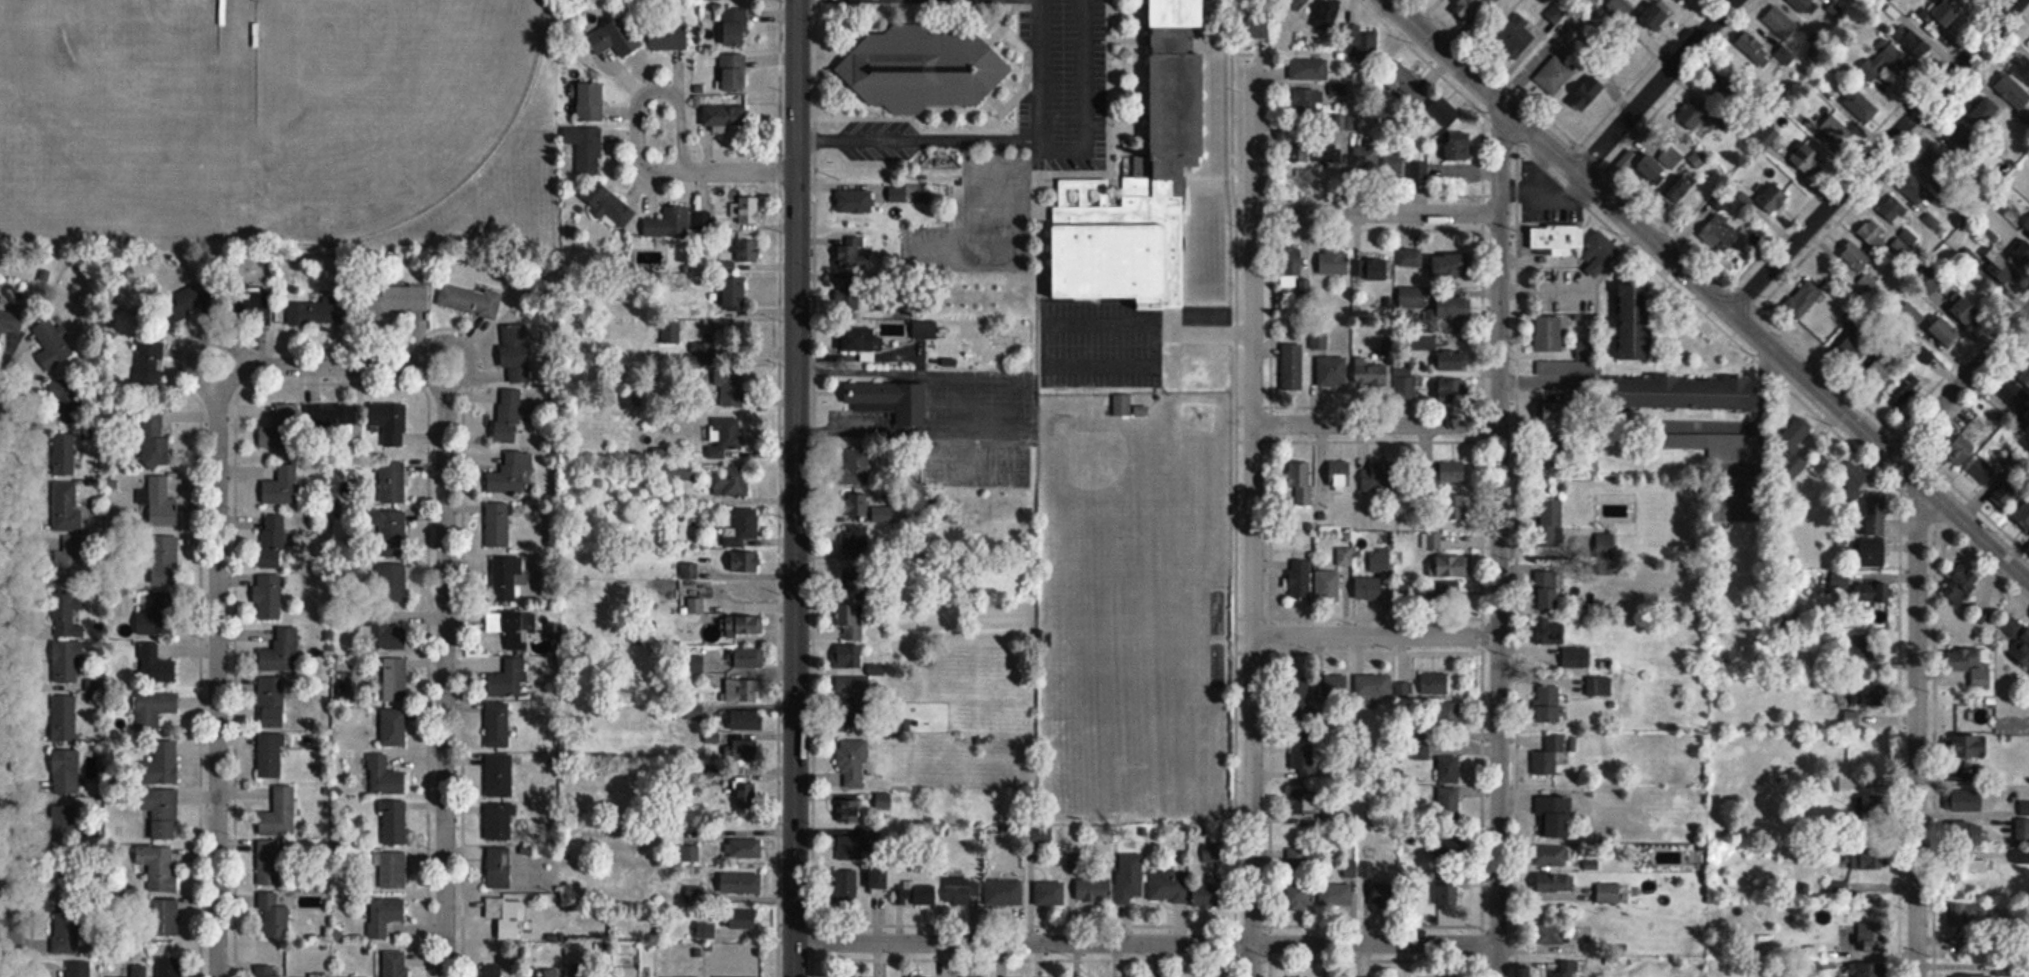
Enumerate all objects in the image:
building: (1684, 1)
building: (1298, 4)
building: (1805, 6)
building: (1468, 8)
building: (1620, 9)
building: (1328, 15)
building: (1656, 17)
building: (1940, 20)
building: (1780, 22)
building: (1254, 24)
building: (734, 29)
building: (628, 33)
building: (1518, 34)
building: (601, 40)
building: (669, 40)
building: (1913, 40)
building: (1363, 44)
building: (1752, 47)
building: (1888, 62)
building: (2022, 66)
road: (1033, 69)
building: (1309, 69)
building: (923, 70)
park: (130, 71)
road: (1078, 71)
building: (733, 72)
building: (1558, 73)
building: (1404, 84)
road: (780, 86)
road: (1656, 86)
building: (1729, 90)
building: (2012, 92)
building: (1588, 93)
building: (1306, 100)
building: (590, 102)
building: (1860, 105)
park: (382, 108)
building: (1444, 111)
building: (1985, 112)
building: (724, 116)
building: (1695, 116)
road: (680, 124)
building: (1835, 129)
building: (1768, 136)
road: (916, 137)
building: (1964, 137)
road: (1054, 140)
building: (1457, 147)
building: (586, 148)
building: (1327, 155)
road: (1875, 155)
building: (1366, 158)
building: (1699, 158)
building: (1807, 159)
building: (1393, 165)
building: (1937, 165)
building: (1653, 169)
road: (672, 170)
building: (1418, 170)
building: (1681, 188)
building: (1914, 190)
building: (898, 194)
building: (1773, 198)
building: (854, 202)
building: (609, 205)
building: (749, 210)
building: (1894, 211)
road: (1376, 212)
building: (669, 223)
building: (2027, 223)
building: (1721, 233)
building: (1873, 234)
building: (1558, 237)
building: (1599, 245)
building: (1122, 246)
building: (747, 251)
building: (853, 252)
building: (2023, 253)
building: (1854, 256)
building: (1410, 258)
building: (1296, 264)
building: (1334, 264)
building: (1999, 264)
building: (1451, 266)
building: (1372, 270)
road: (1708, 289)
building: (734, 291)
building: (857, 291)
building: (192, 298)
building: (1413, 298)
building: (470, 300)
building: (1804, 300)
building: (394, 301)
building: (1454, 308)
building: (315, 312)
building: (1913, 313)
building: (1634, 320)
building: (11, 321)
building: (925, 329)
building: (671, 332)
building: (1946, 332)
road: (1207, 333)
building: (1549, 334)
building: (856, 340)
parking lot: (1095, 343)
building: (54, 344)
building: (701, 353)
building: (515, 356)
building: (1453, 359)
building: (1575, 361)
road: (330, 365)
building: (149, 366)
building: (1292, 366)
building: (1333, 372)
building: (1372, 374)
building: (2025, 376)
road: (1960, 382)
building: (1406, 386)
road: (2, 387)
building: (732, 388)
building: (1906, 388)
building: (1454, 391)
building: (1686, 392)
building: (2016, 397)
building: (891, 400)
building: (63, 401)
building: (1122, 405)
building: (511, 413)
building: (331, 416)
building: (287, 418)
building: (390, 422)
road: (1375, 424)
building: (724, 436)
building: (1970, 438)
building: (154, 440)
building: (1796, 445)
building: (1552, 449)
building: (65, 455)
park: (1096, 457)
building: (1590, 465)
building: (676, 470)
building: (1453, 472)
building: (508, 475)
building: (1341, 476)
building: (1853, 476)
building: (1380, 478)
building: (1997, 479)
building: (391, 482)
building: (731, 483)
building: (1301, 483)
road: (796, 488)
building: (280, 490)
building: (853, 493)
building: (1326, 501)
building: (162, 503)
building: (1453, 506)
building: (66, 508)
road: (1252, 518)
building: (2023, 518)
building: (1552, 522)
building: (498, 525)
building: (742, 527)
building: (1875, 529)
building: (389, 533)
building: (854, 538)
road: (1498, 539)
building: (273, 541)
building: (1433, 542)
building: (1605, 543)
building: (1344, 557)
building: (165, 560)
building: (69, 561)
building: (746, 561)
building: (1379, 561)
building: (1450, 565)
building: (504, 579)
building: (1301, 579)
building: (1840, 579)
building: (389, 582)
building: (850, 583)
building: (1328, 585)
building: (1961, 585)
building: (1550, 587)
building: (1370, 588)
building: (1400, 590)
building: (1445, 592)
building: (1874, 593)
building: (268, 597)
building: (155, 613)
building: (67, 614)
building: (851, 621)
building: (490, 622)
building: (744, 625)
building: (518, 629)
building: (1550, 630)
building: (385, 632)
road: (1376, 634)
building: (2017, 639)
building: (281, 651)
building: (1867, 654)
building: (848, 655)
building: (749, 657)
building: (66, 662)
building: (155, 665)
building: (1974, 667)
road: (444, 675)
road: (217, 676)
building: (509, 678)
building: (395, 679)
road: (13, 681)
building: (1435, 683)
building: (1374, 684)
building: (852, 685)
building: (1332, 686)
building: (1298, 688)
building: (741, 689)
building: (1870, 694)
building: (273, 702)
building: (1548, 703)
building: (155, 708)
building: (855, 714)
building: (1448, 715)
building: (1852, 717)
building: (64, 718)
building: (747, 719)
building: (498, 725)
building: (393, 727)
road: (1916, 727)
building: (1968, 744)
building: (745, 749)
building: (1548, 752)
building: (271, 755)
building: (1305, 756)
building: (852, 763)
building: (160, 764)
building: (1450, 769)
building: (65, 771)
building: (498, 775)
building: (385, 777)
building: (746, 796)
building: (1968, 799)
building: (1303, 800)
building: (1868, 805)
building: (2026, 806)
building: (1449, 807)
building: (850, 811)
building: (162, 812)
building: (280, 814)
building: (1554, 817)
building: (499, 821)
building: (64, 823)
building: (393, 823)
building: (2022, 830)
building: (1967, 833)
building: (1042, 835)
building: (746, 848)
building: (850, 848)
building: (1450, 849)
building: (1550, 856)
building: (2020, 857)
building: (1864, 858)
building: (269, 864)
building: (159, 867)
building: (499, 868)
building: (1349, 868)
building: (393, 870)
building: (1976, 870)
building: (879, 878)
building: (1130, 878)
building: (1299, 881)
building: (1556, 883)
building: (742, 884)
building: (1167, 886)
building: (846, 887)
building: (1094, 890)
building: (961, 891)
building: (1857, 892)
building: (1004, 893)
building: (1608, 893)
road: (6, 894)
building: (1050, 894)
building: (1383, 894)
building: (1449, 894)
building: (916, 895)
building: (1336, 895)
building: (1209, 896)
building: (695, 897)
building: (1971, 913)
building: (384, 916)
building: (506, 916)
building: (274, 917)
building: (165, 919)
building: (744, 919)
building: (705, 930)
building: (1552, 934)
building: (1870, 936)
road: (1146, 941)
building: (68, 942)
building: (396, 964)
building: (170, 967)
building: (79, 969)
building: (492, 970)
building: (1875, 970)
building: (139, 971)
building: (268, 971)
building: (588, 972)
building: (1564, 972)
building: (1973, 975)
building: (295, 976)

